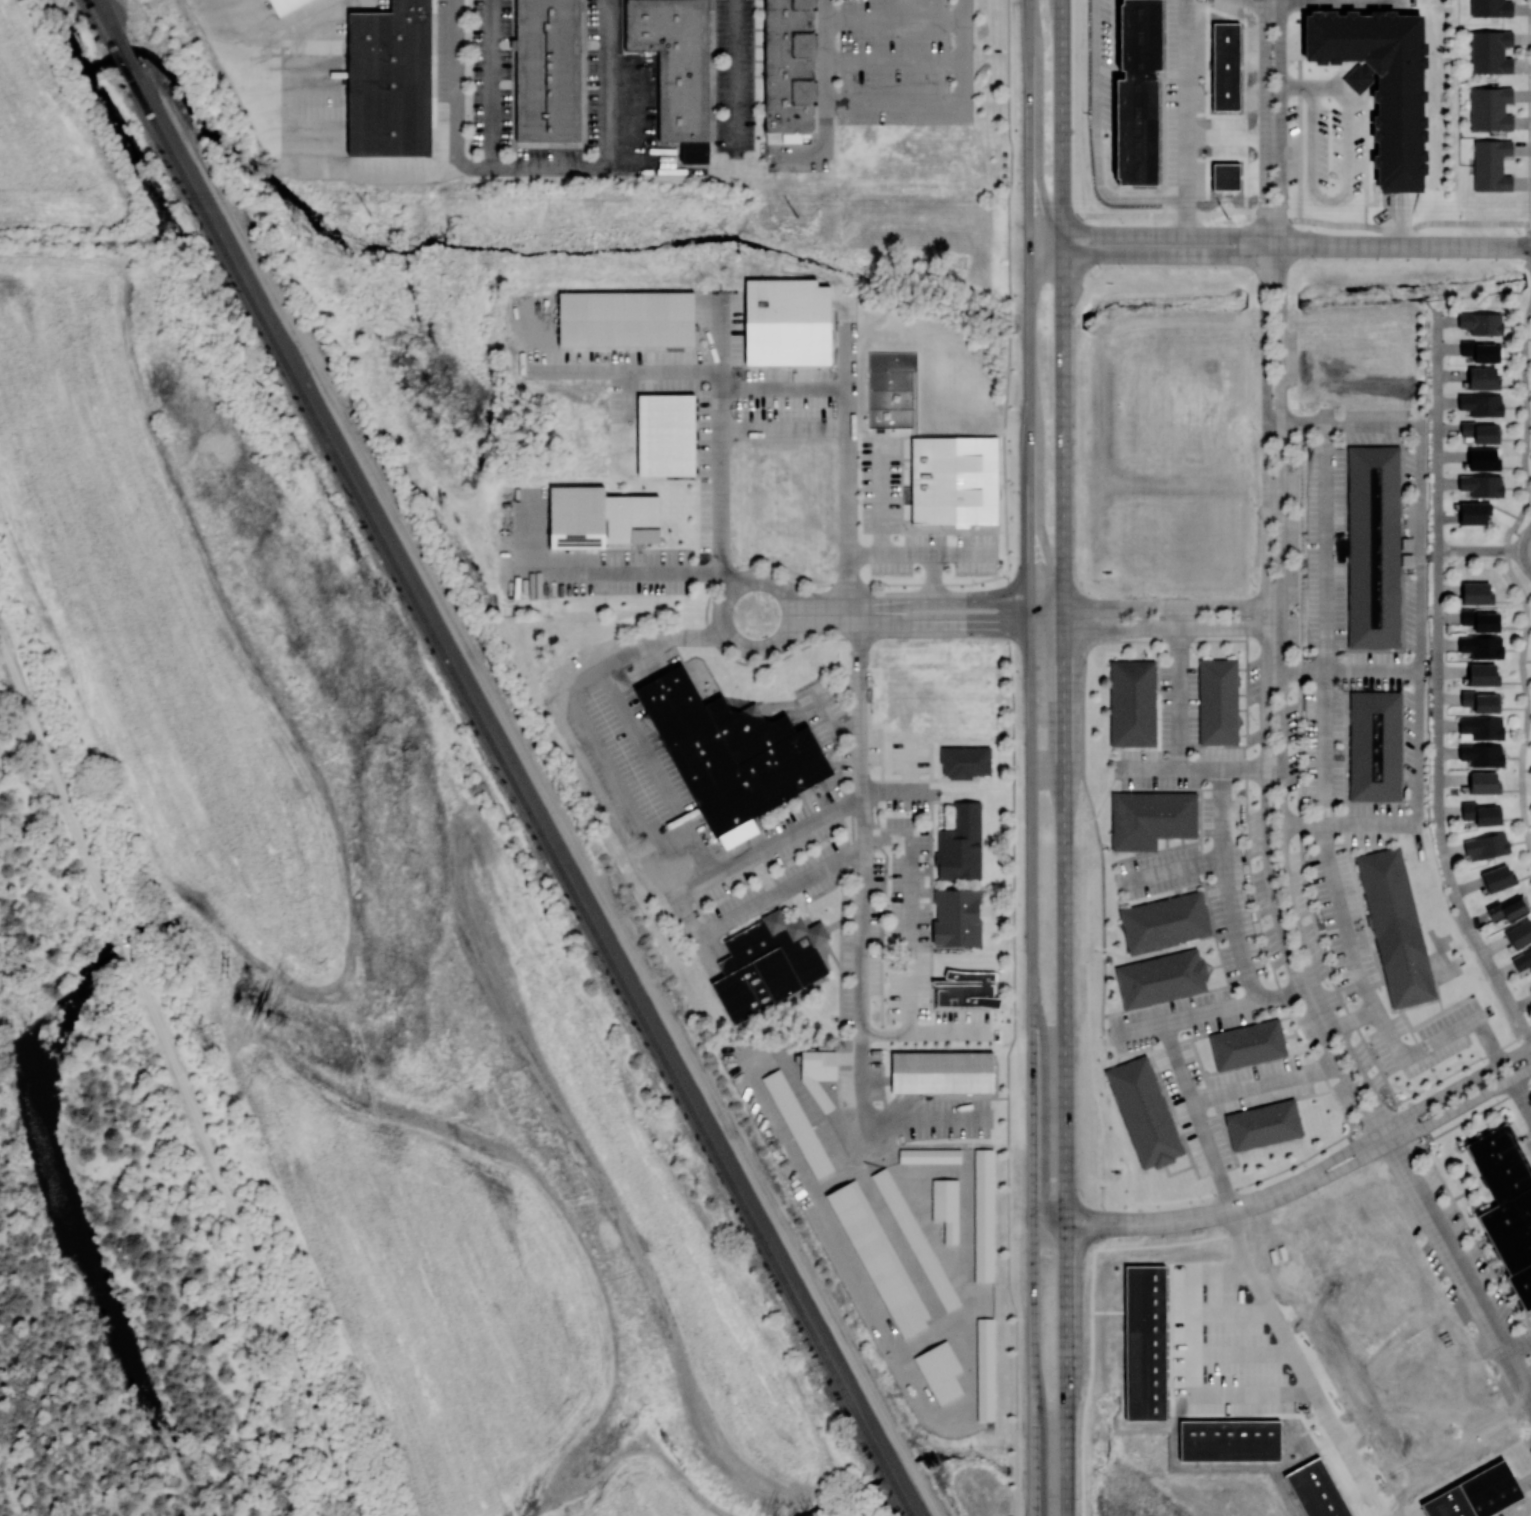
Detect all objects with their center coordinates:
road: (1336, 0)
road: (1260, 1)
road: (1271, 1)
building: (286, 6)
building: (1490, 8)
railway: (92, 11)
railway: (109, 11)
road: (894, 21)
road: (214, 25)
road: (1031, 44)
building: (1490, 51)
road: (965, 54)
railway: (116, 55)
railway: (133, 55)
road: (894, 63)
building: (791, 66)
building: (1226, 66)
building: (678, 68)
building: (548, 71)
road: (734, 74)
road: (1339, 76)
building: (1360, 77)
road: (1358, 79)
building: (391, 80)
road: (609, 82)
building: (1382, 82)
road: (492, 83)
road: (1297, 86)
building: (1137, 92)
road: (824, 95)
road: (1362, 99)
building: (1489, 108)
road: (894, 109)
road: (1188, 117)
road: (1265, 122)
road: (1280, 122)
road: (1095, 138)
building: (1491, 164)
road: (555, 165)
road: (325, 166)
building: (1225, 175)
road: (1340, 196)
power tower: (369, 214)
power tower: (796, 215)
power tower: (1227, 217)
road: (1403, 218)
road: (1314, 222)
road: (1149, 234)
road: (1398, 245)
road: (1149, 254)
road: (1008, 291)
road: (1063, 313)
building: (626, 315)
building: (789, 322)
building: (1481, 322)
building: (1478, 350)
road: (1032, 356)
road: (630, 371)
building: (1482, 378)
road: (740, 390)
road: (629, 394)
building: (1481, 404)
road: (1294, 425)
building: (1478, 431)
road: (763, 432)
building: (667, 433)
building: (1482, 459)
road: (848, 460)
building: (955, 480)
building: (1482, 484)
road: (882, 495)
building: (1473, 512)
road: (720, 514)
building: (601, 517)
building: (1406, 543)
building: (1373, 545)
road: (1472, 550)
road: (1513, 550)
road: (1519, 550)
road: (921, 553)
road: (587, 570)
road: (933, 578)
road: (1513, 578)
road: (1418, 585)
building: (1476, 592)
road: (919, 603)
road: (1173, 607)
road: (1008, 609)
road: (722, 617)
building: (1480, 619)
road: (908, 625)
road: (1156, 627)
building: (1482, 646)
road: (1295, 670)
road: (1371, 670)
building: (1482, 674)
road: (1436, 685)
building: (1480, 700)
building: (1132, 702)
building: (1217, 703)
road: (1281, 705)
road: (1266, 709)
park: (830, 714)
road: (833, 724)
building: (1482, 727)
road: (1179, 737)
building: (1374, 747)
building: (1482, 754)
building: (731, 755)
building: (964, 761)
road: (1149, 766)
building: (1483, 782)
railway: (522, 801)
railway: (538, 802)
building: (1481, 813)
road: (638, 819)
building: (1149, 819)
road: (1302, 825)
building: (961, 843)
building: (1486, 845)
road: (770, 846)
road: (864, 869)
road: (1173, 869)
building: (1497, 877)
road: (1102, 888)
building: (1507, 908)
road: (1231, 910)
building: (957, 917)
building: (1164, 922)
building: (1395, 927)
road: (910, 933)
building: (1519, 933)
building: (1522, 959)
building: (768, 963)
building: (1160, 979)
building: (965, 989)
road: (1186, 1015)
road: (1355, 1017)
road: (1487, 1040)
building: (1247, 1044)
building: (942, 1069)
road: (1034, 1070)
road: (1065, 1071)
road: (1007, 1075)
road: (180, 1076)
road: (1264, 1082)
road: (1521, 1095)
building: (1144, 1112)
road: (1043, 1115)
road: (926, 1118)
road: (1197, 1118)
building: (797, 1122)
building: (1262, 1127)
building: (929, 1154)
road: (1304, 1173)
road: (1309, 1185)
building: (947, 1206)
building: (1508, 1209)
building: (984, 1213)
road: (885, 1223)
building: (915, 1237)
building: (878, 1257)
road: (1461, 1269)
road: (1090, 1312)
road: (1108, 1312)
road: (1230, 1313)
road: (931, 1330)
road: (892, 1340)
road: (1518, 1341)
building: (1145, 1343)
road: (1242, 1354)
road: (1190, 1364)
road: (1301, 1367)
building: (986, 1369)
building: (940, 1371)
building: (1230, 1441)
building: (1318, 1490)
building: (1474, 1495)
road: (1528, 1514)

